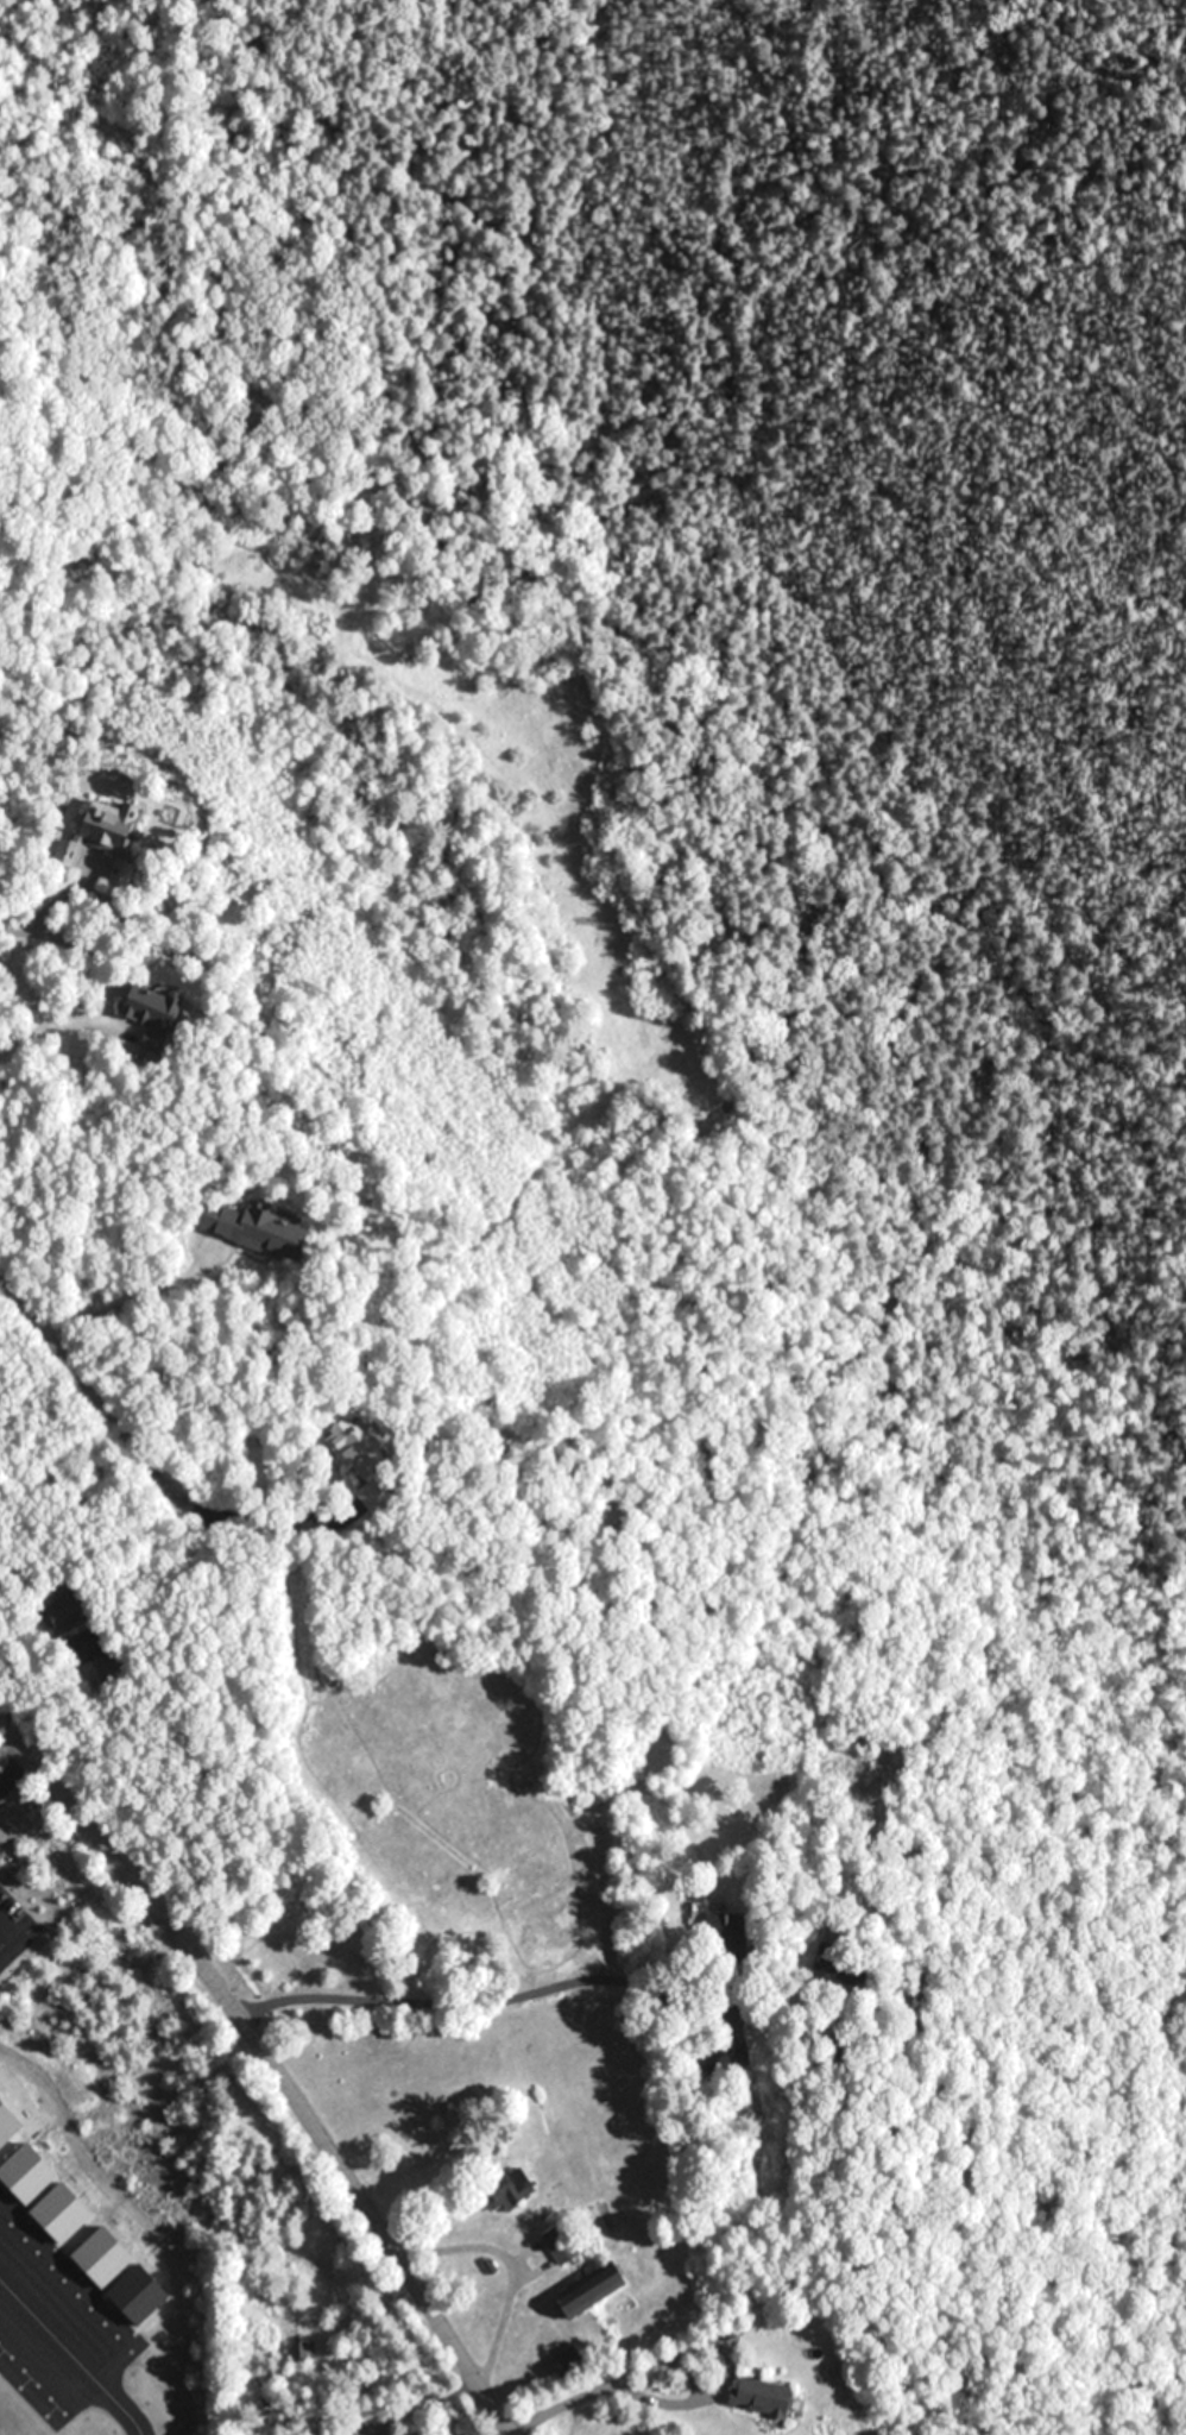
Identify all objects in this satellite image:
road: (45, 918)
road: (36, 1036)
building: (253, 1232)
road: (124, 1300)
road: (88, 1383)
road: (13, 1776)
parking lot: (14, 1934)
road: (440, 2003)
road: (272, 2069)
airport: (93, 2181)
building: (505, 2191)
road: (510, 2269)
building: (581, 2292)
airport apron: (55, 2323)
building: (755, 2397)
road: (562, 2404)
airport taxiway: (125, 2409)

